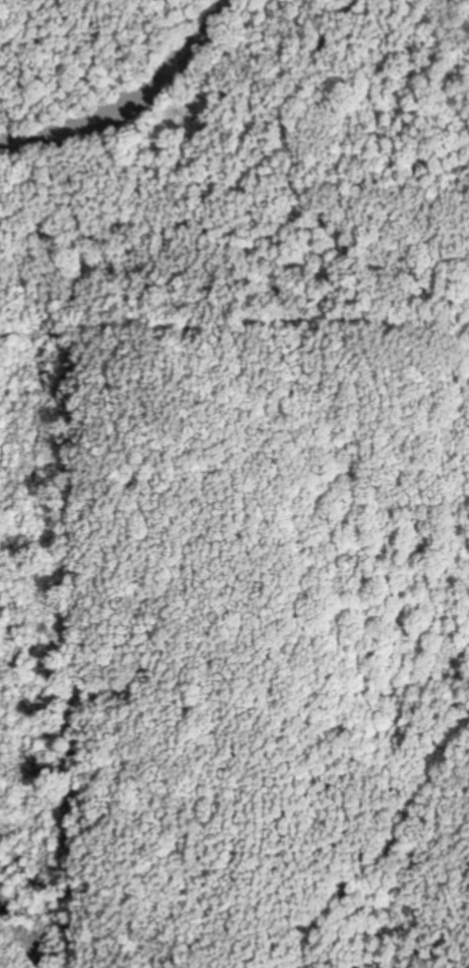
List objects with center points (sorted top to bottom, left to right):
road: (134, 102)
road: (19, 952)

